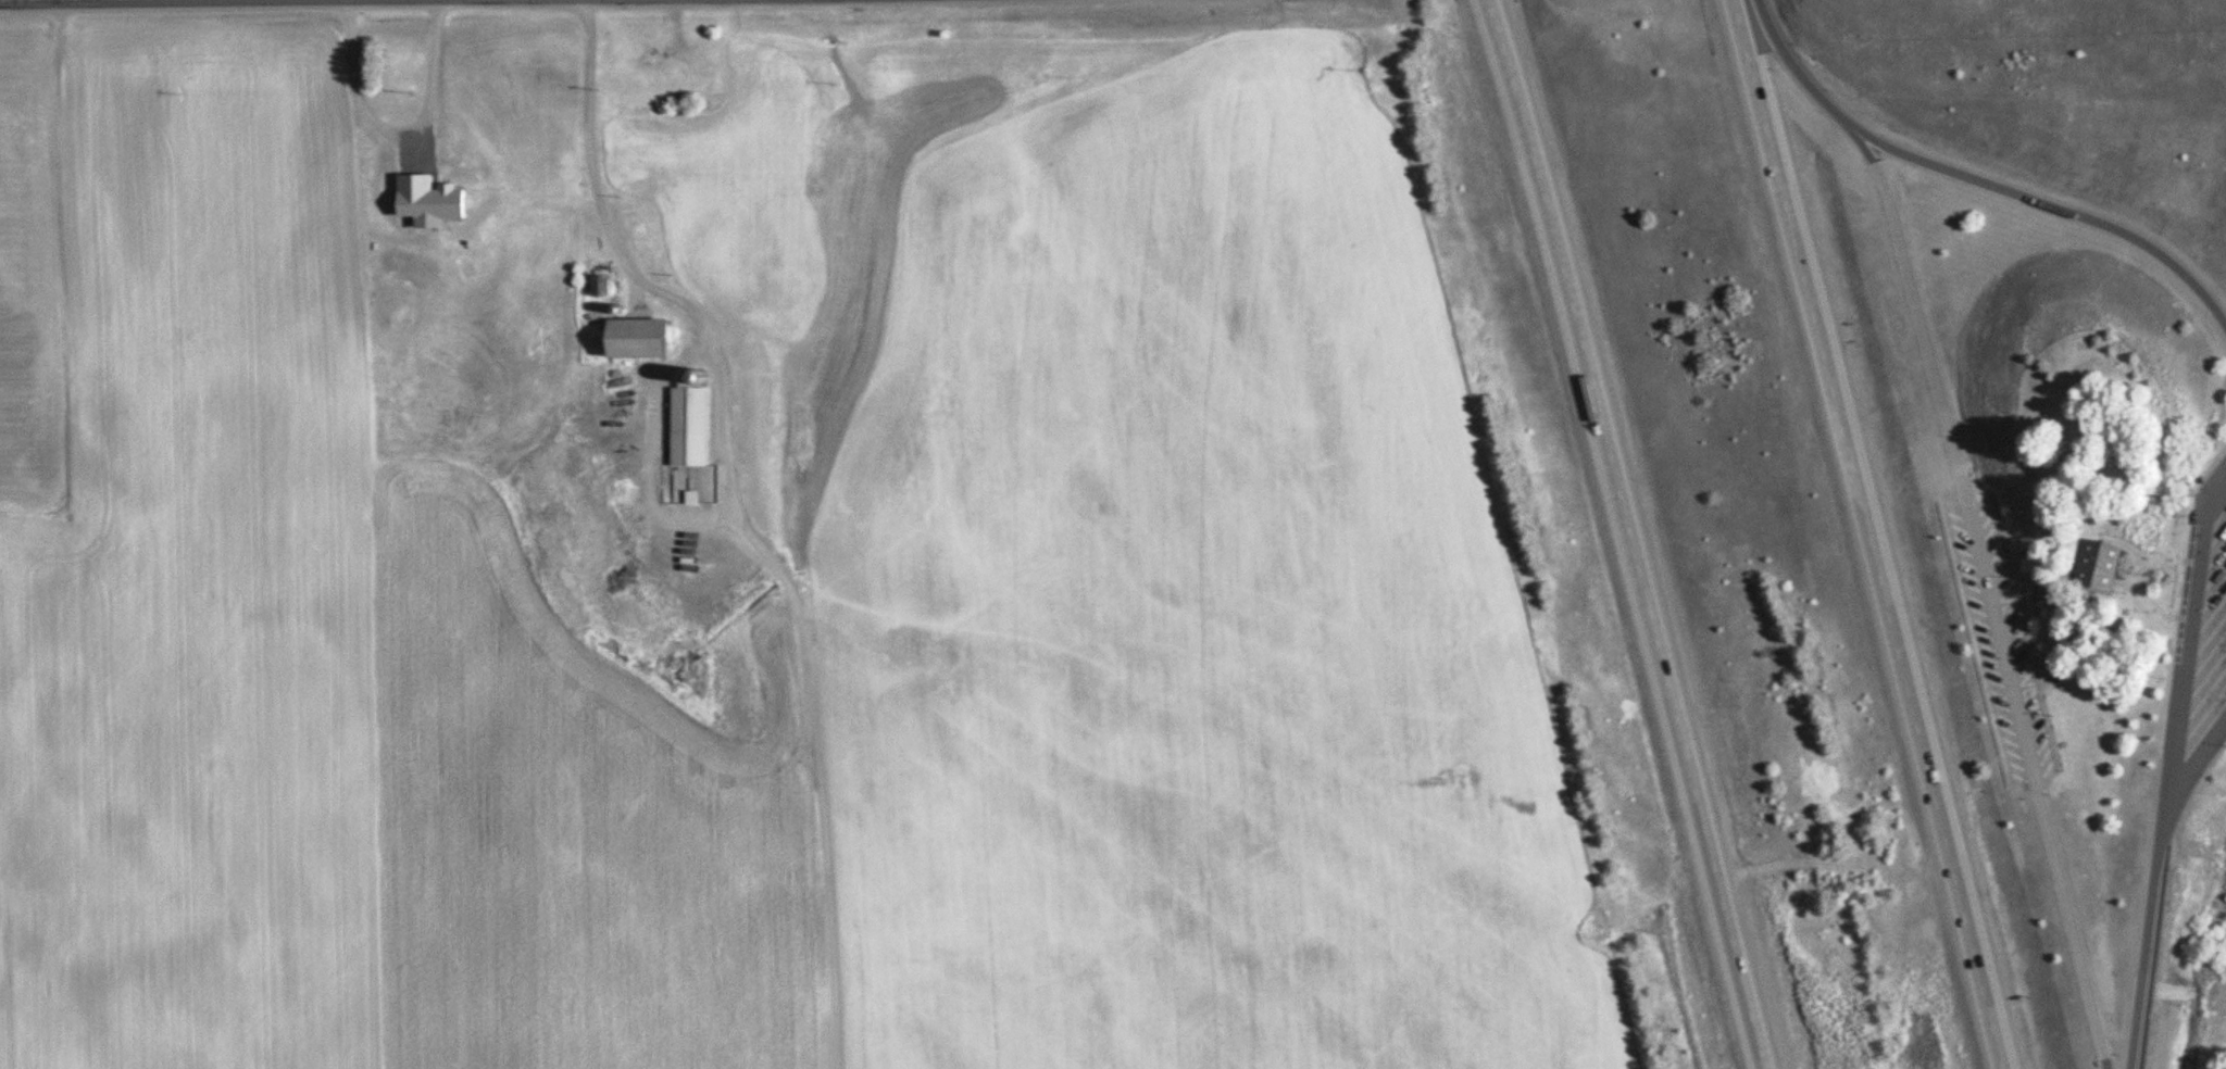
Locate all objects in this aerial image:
road: (37, 0)
road: (1804, 72)
road: (2055, 210)
building: (610, 285)
building: (653, 339)
building: (699, 423)
road: (2059, 429)
road: (1629, 533)
road: (1871, 536)
road: (2128, 546)
road: (2062, 554)
building: (2097, 562)
road: (2138, 580)
road: (2072, 586)
road: (2124, 586)
road: (1993, 594)
road: (2177, 619)
road: (2030, 632)
parking lot: (2005, 644)
parking lot: (2198, 665)
road: (2194, 756)
road: (2167, 770)

